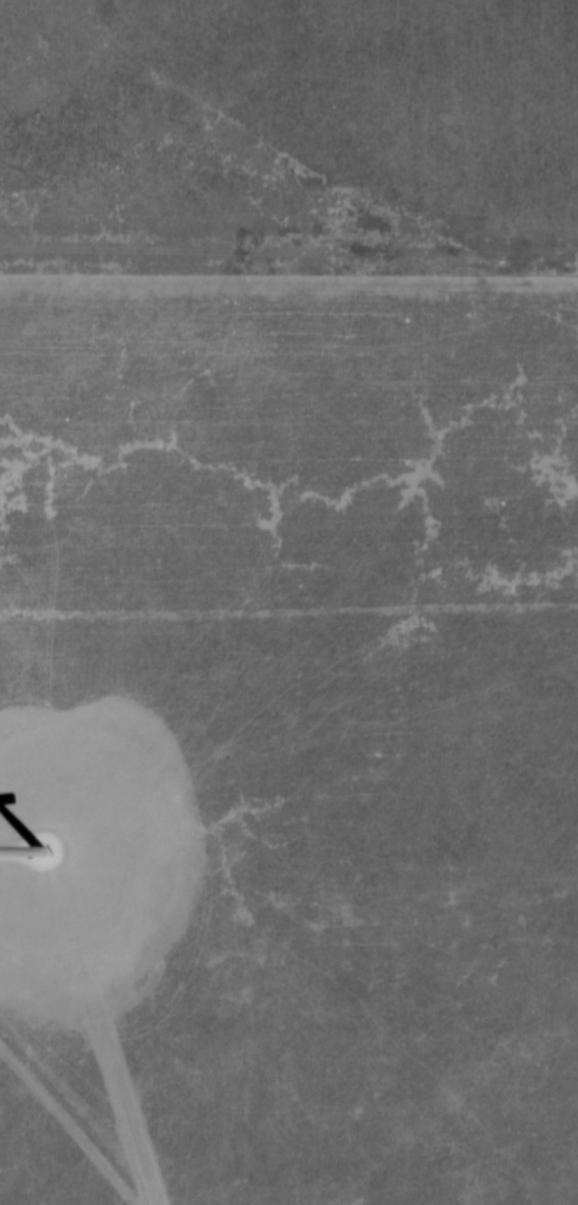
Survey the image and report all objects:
wind turbine: (40, 851)
road: (8, 854)

